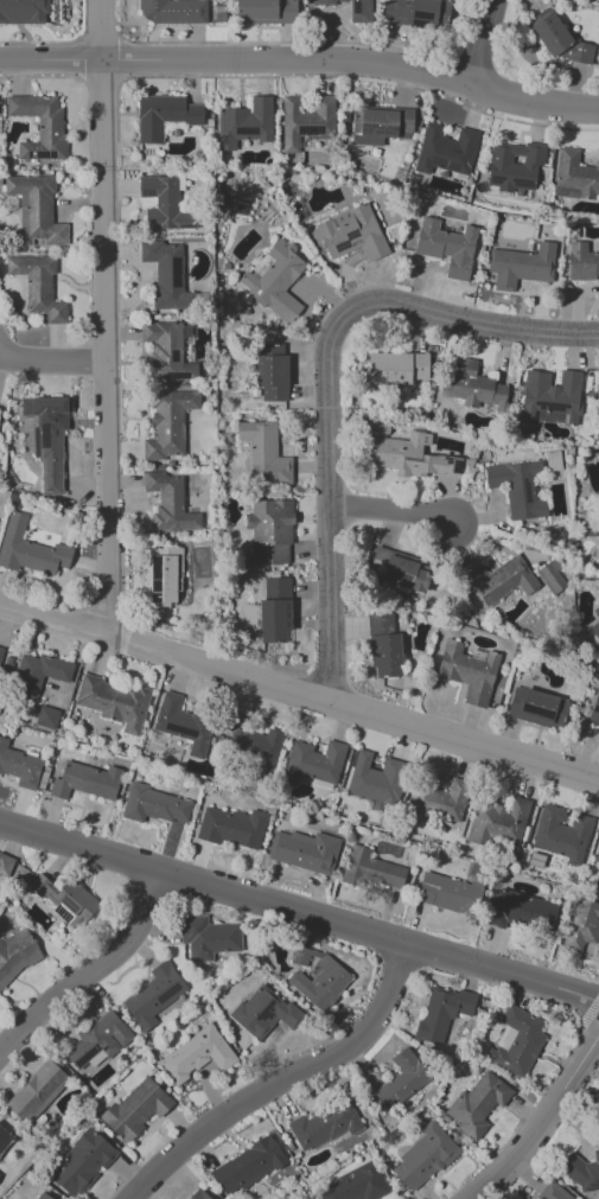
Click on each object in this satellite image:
building: (351, 8)
rooftop solar panel: (356, 9)
building: (171, 11)
building: (23, 12)
building: (266, 12)
building: (416, 13)
rooftop solar panel: (419, 15)
rooftop solar panel: (416, 25)
building: (557, 38)
road: (483, 43)
road: (302, 63)
building: (163, 116)
building: (305, 121)
building: (244, 123)
building: (39, 126)
building: (380, 126)
rooftop solar panel: (364, 128)
rooftop solar panel: (310, 129)
rooftop solar panel: (384, 130)
building: (445, 151)
building: (514, 166)
building: (574, 177)
rooftop solar panel: (495, 179)
rooftop solar panel: (522, 184)
rooftop solar panel: (146, 193)
building: (164, 204)
building: (36, 210)
rooftop solar panel: (186, 227)
building: (350, 234)
rooftop solar panel: (350, 234)
rooftop solar panel: (340, 247)
building: (447, 247)
building: (581, 262)
building: (521, 266)
building: (168, 276)
building: (276, 281)
building: (38, 286)
road: (104, 315)
building: (166, 351)
rooftop solar panel: (174, 356)
road: (51, 358)
building: (395, 369)
building: (270, 371)
rooftop solar panel: (174, 377)
road: (325, 377)
building: (477, 388)
building: (549, 397)
rooftop solar panel: (550, 406)
rooftop solar panel: (534, 417)
rooftop solar panel: (565, 417)
building: (168, 423)
rooftop solar panel: (43, 436)
building: (47, 438)
building: (263, 453)
building: (406, 453)
rooftop solar panel: (553, 461)
building: (517, 487)
building: (168, 503)
road: (394, 514)
building: (269, 531)
building: (28, 549)
building: (400, 569)
rooftop solar panel: (153, 570)
building: (164, 576)
rooftop solar panel: (395, 578)
building: (550, 578)
building: (499, 580)
rooftop solar panel: (153, 587)
rooftop solar panel: (153, 595)
building: (274, 611)
building: (597, 612)
building: (595, 629)
building: (383, 644)
building: (0, 649)
building: (469, 671)
building: (38, 674)
road: (298, 695)
building: (113, 702)
building: (537, 708)
building: (594, 709)
rooftop solar panel: (540, 710)
rooftop solar panel: (595, 710)
building: (46, 718)
building: (183, 725)
rooftop solar panel: (181, 732)
building: (251, 742)
building: (313, 764)
building: (19, 766)
building: (375, 779)
building: (85, 782)
building: (438, 802)
building: (154, 805)
building: (498, 823)
building: (231, 828)
building: (561, 834)
building: (304, 850)
building: (597, 855)
building: (5, 866)
building: (369, 869)
building: (448, 893)
building: (64, 900)
building: (522, 911)
road: (300, 913)
building: (581, 924)
building: (208, 937)
building: (17, 955)
building: (316, 978)
road: (88, 981)
rooftop solar panel: (167, 993)
building: (153, 995)
building: (262, 1012)
building: (441, 1012)
rooftop solar panel: (265, 1013)
building: (97, 1040)
building: (516, 1041)
rooftop solar panel: (85, 1055)
building: (196, 1055)
road: (288, 1078)
building: (401, 1079)
building: (36, 1091)
building: (476, 1104)
building: (135, 1109)
road: (540, 1118)
building: (324, 1125)
building: (4, 1137)
building: (423, 1157)
building: (81, 1163)
building: (247, 1166)
building: (581, 1172)
building: (353, 1185)
building: (552, 1192)
building: (198, 1194)
building: (39, 1195)

